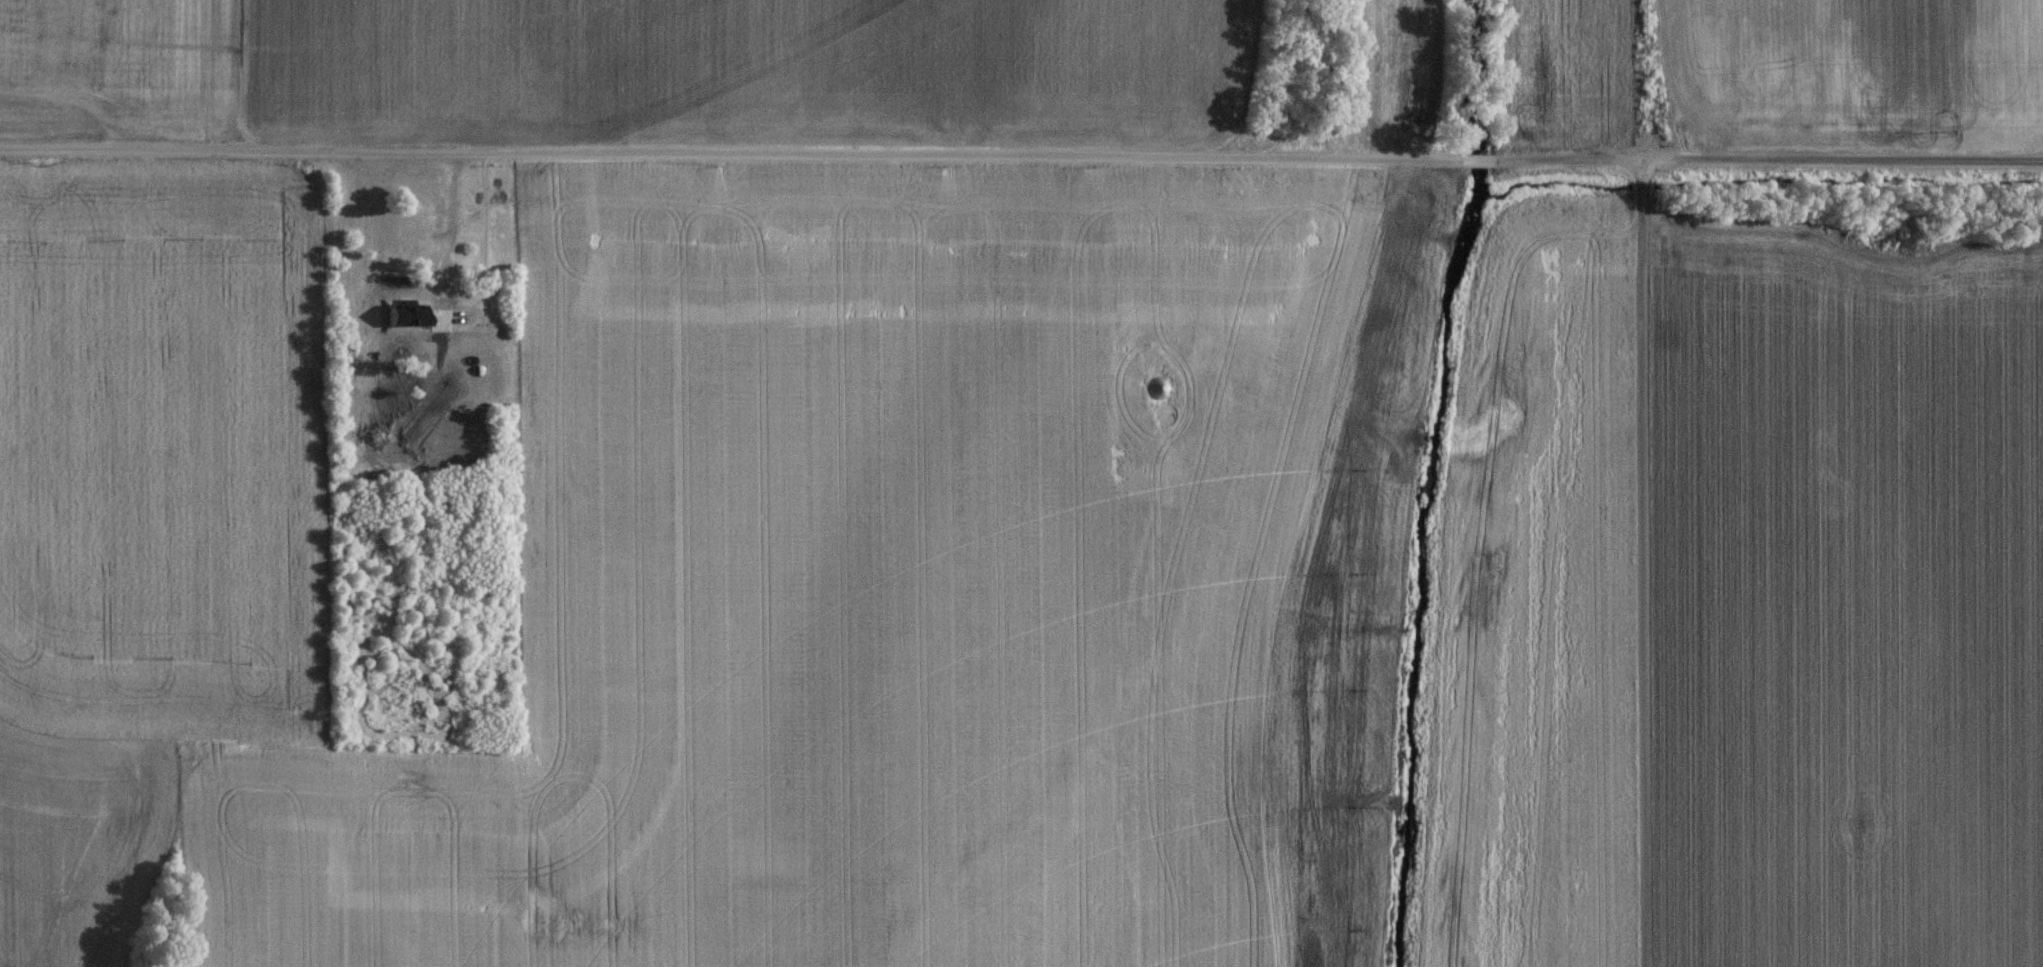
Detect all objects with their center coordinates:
road: (733, 159)
road: (1769, 166)
road: (1481, 167)
building: (415, 228)
building: (472, 358)
building: (1160, 394)
road: (1647, 567)

